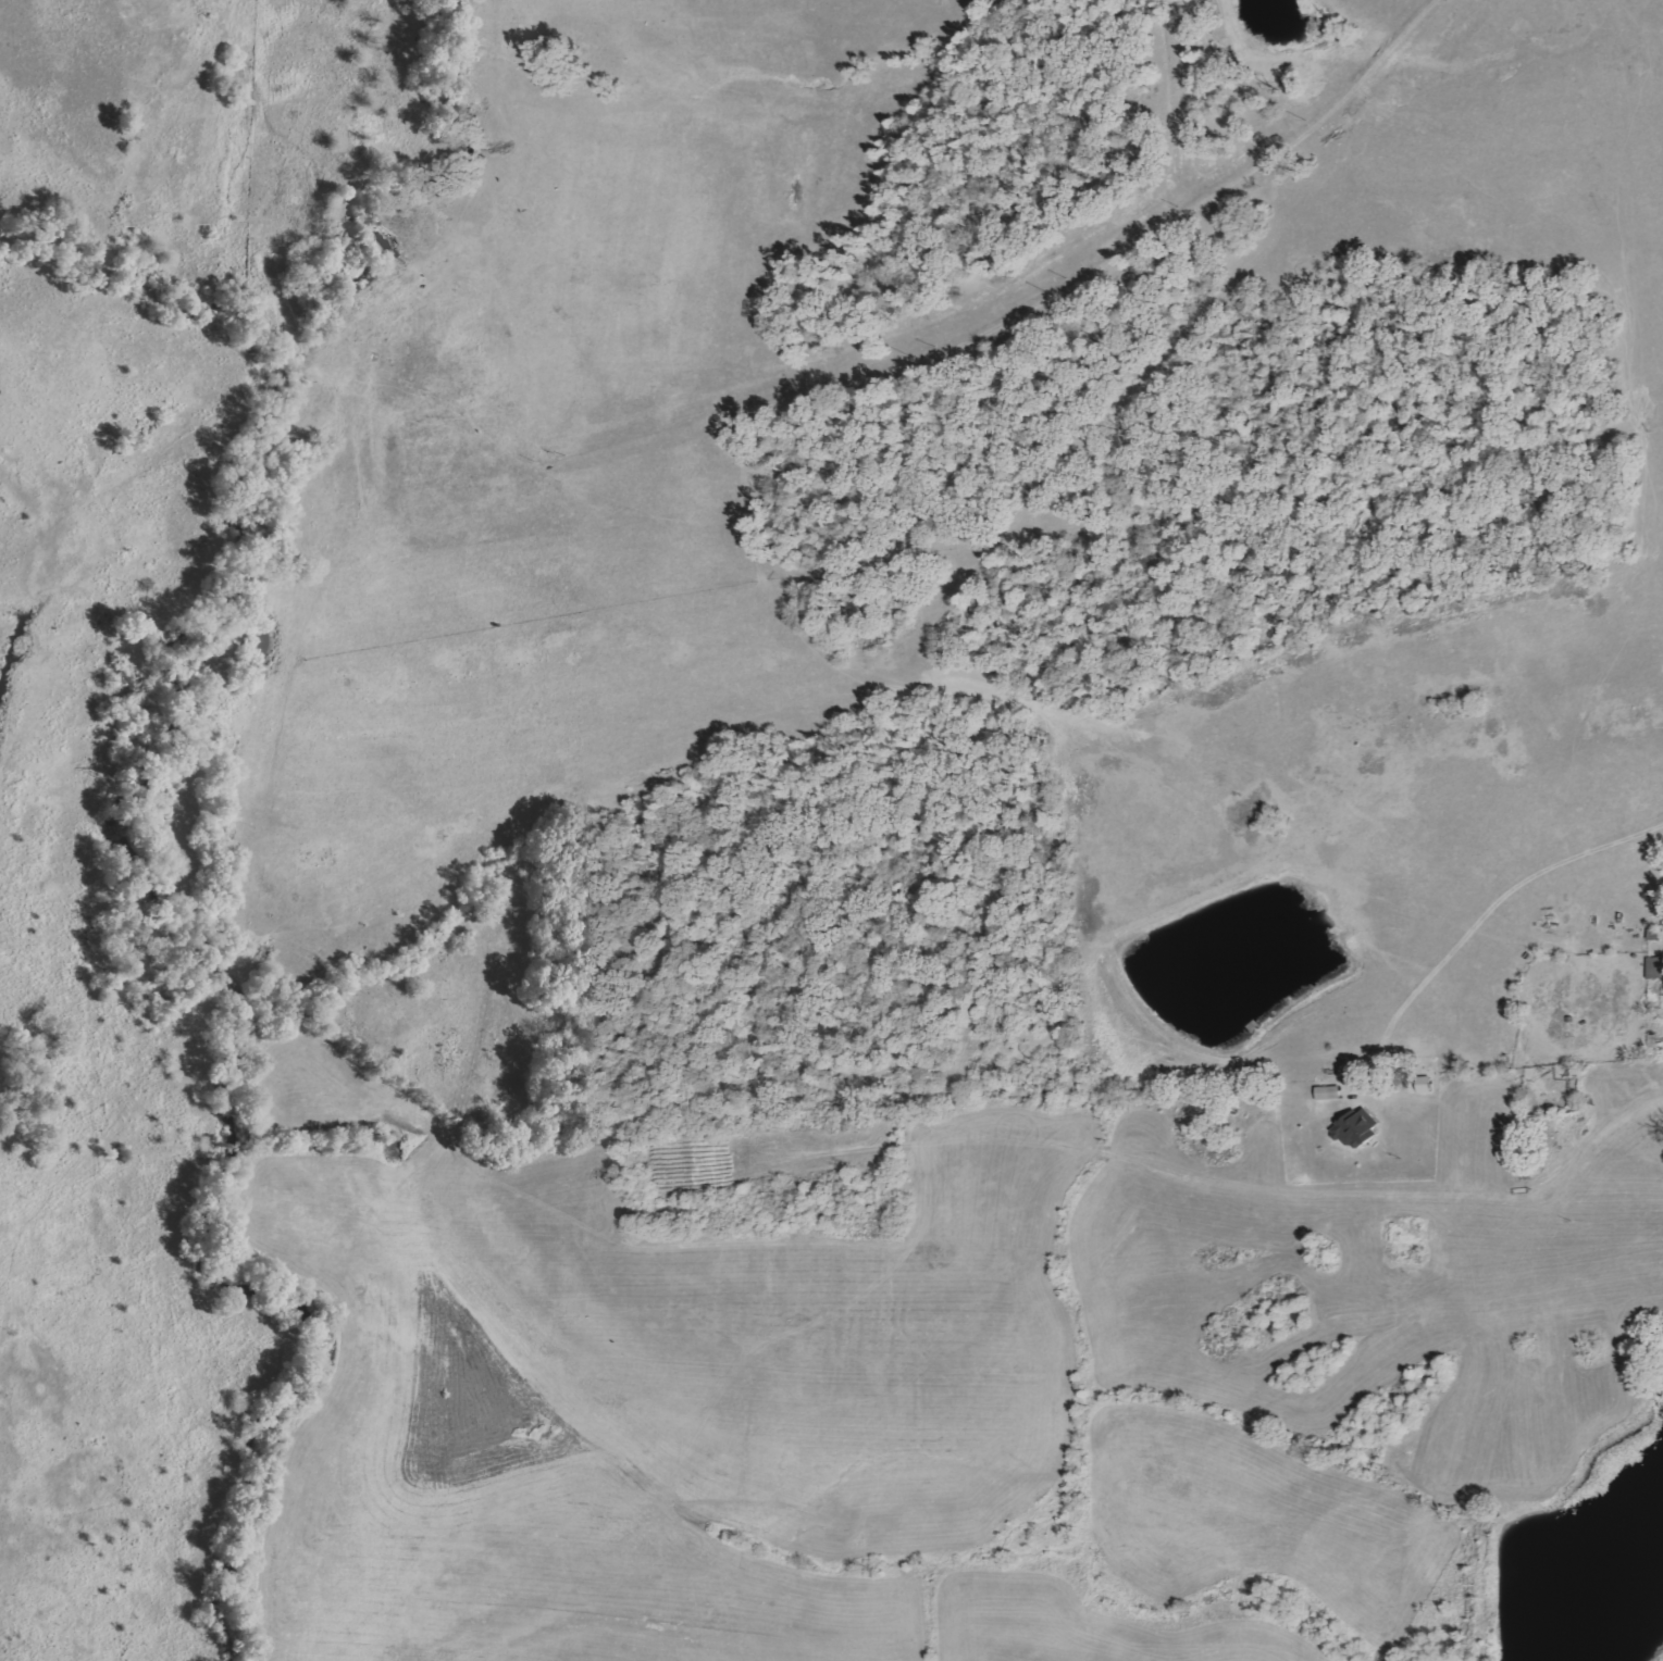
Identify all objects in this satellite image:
road: (1489, 912)
building: (1329, 1092)
building: (1357, 1127)

